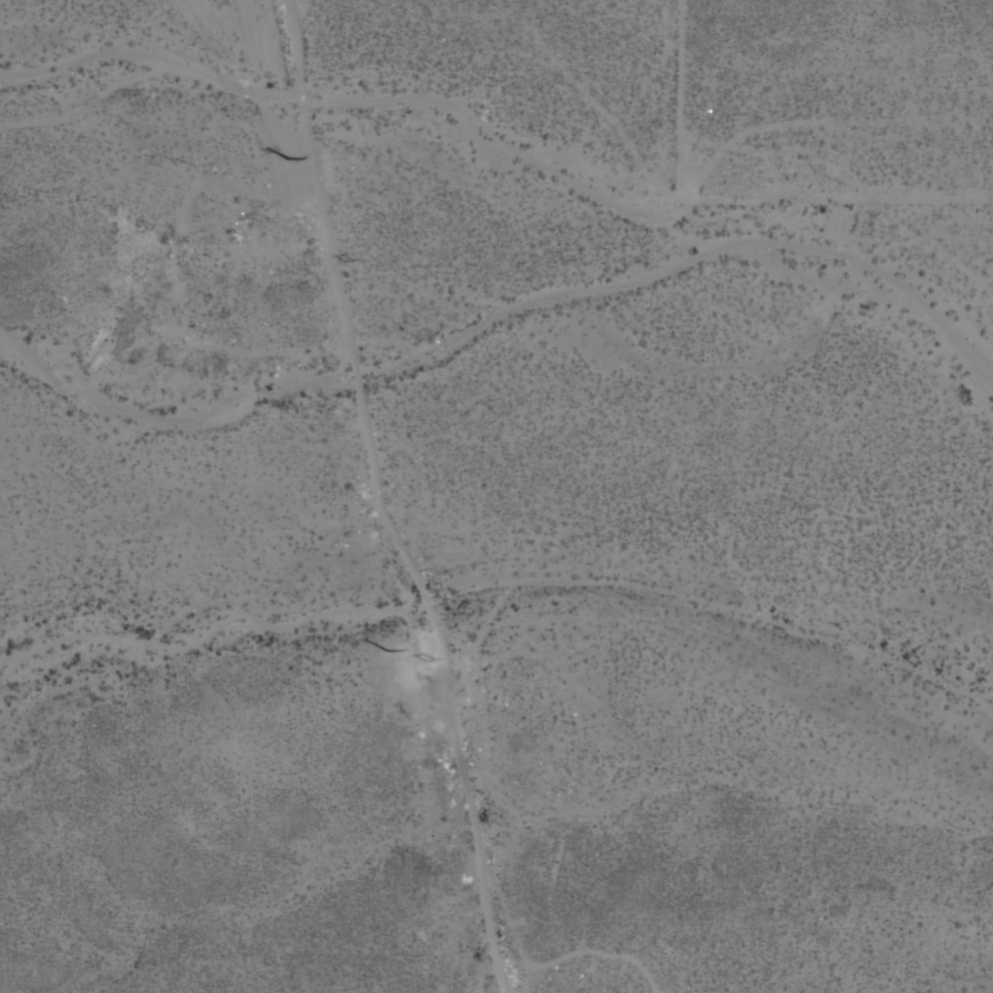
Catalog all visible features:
power tower: (289, 157)
power tower: (348, 262)
power tower: (387, 650)
power tower: (429, 659)

